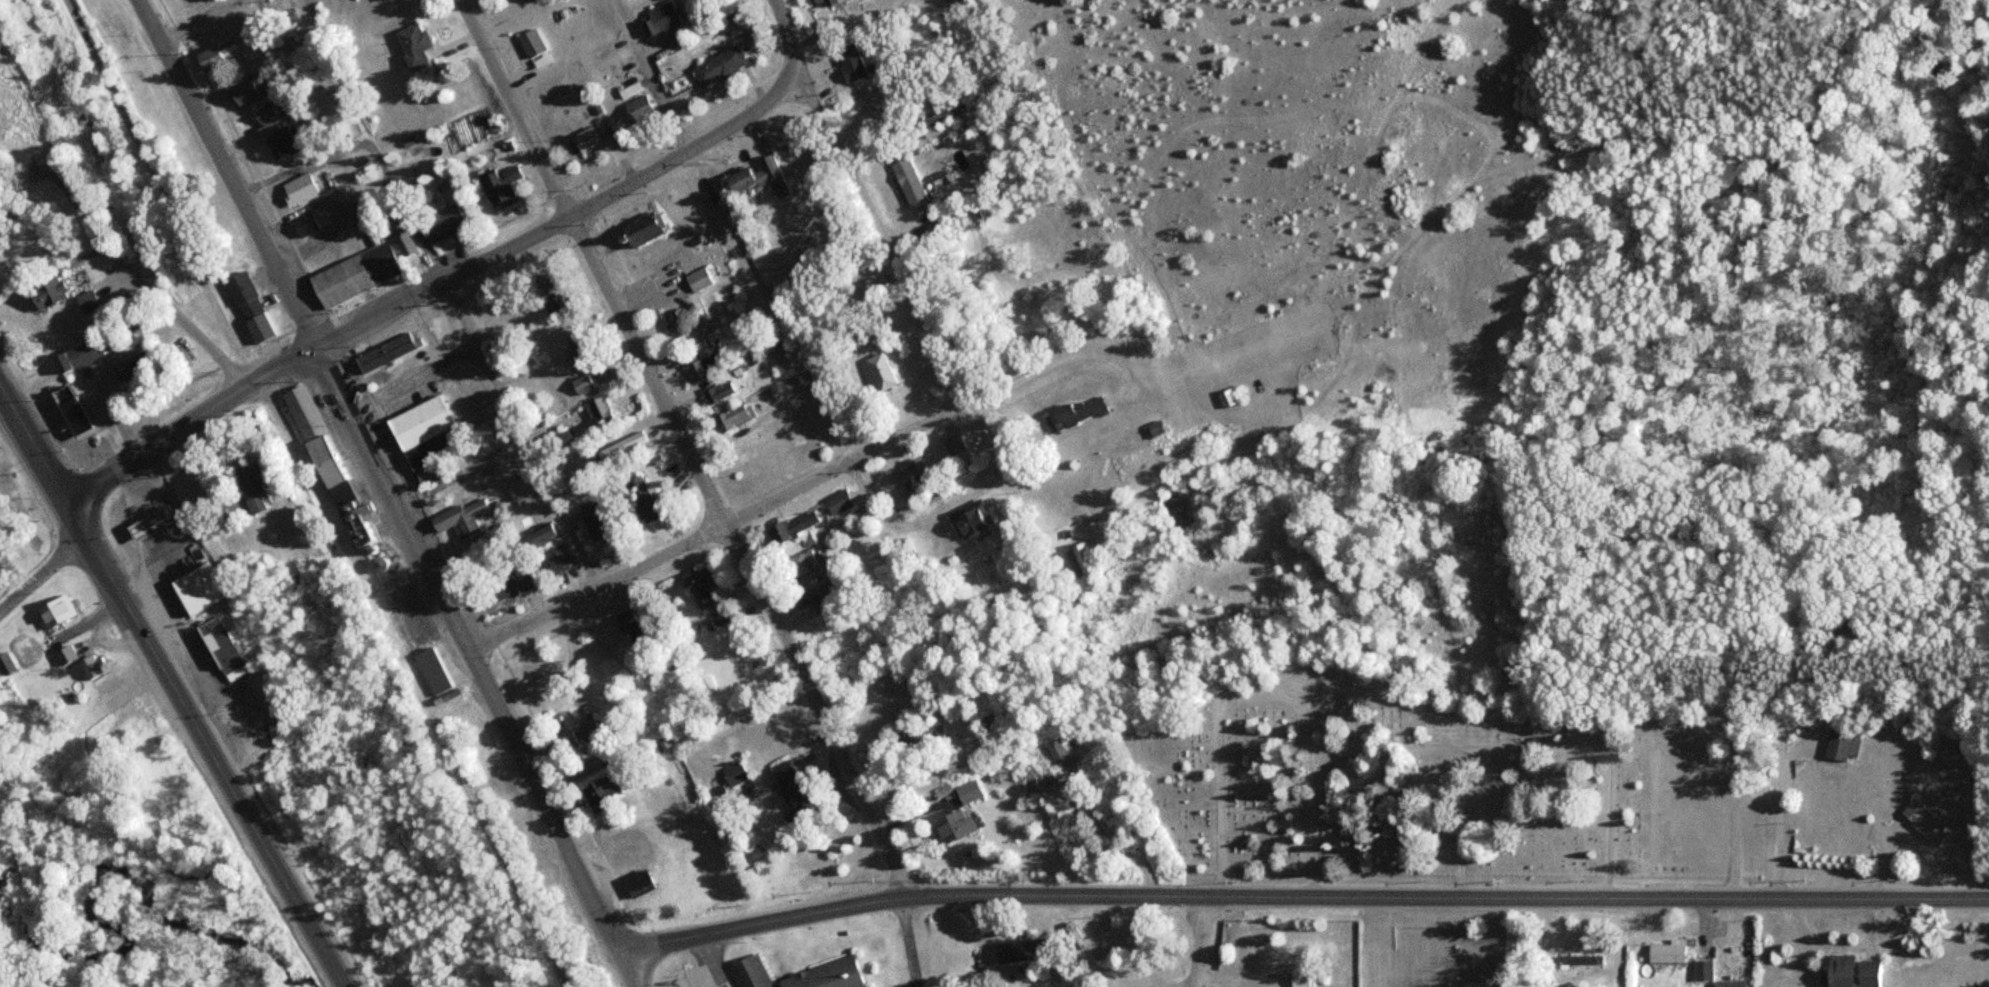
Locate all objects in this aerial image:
building: (665, 1)
building: (821, 2)
road: (197, 20)
building: (664, 20)
building: (410, 43)
building: (532, 47)
building: (229, 49)
building: (847, 61)
building: (722, 69)
building: (244, 91)
building: (635, 105)
building: (269, 115)
building: (583, 137)
building: (283, 141)
building: (770, 171)
building: (735, 178)
building: (907, 179)
building: (498, 181)
building: (297, 186)
road: (867, 200)
building: (440, 221)
building: (305, 222)
building: (638, 226)
building: (695, 277)
building: (348, 278)
road: (428, 288)
building: (46, 290)
building: (547, 291)
road: (162, 293)
building: (248, 305)
building: (581, 346)
building: (776, 347)
building: (385, 351)
building: (90, 356)
building: (71, 357)
building: (698, 365)
building: (68, 368)
building: (878, 370)
building: (142, 377)
building: (581, 382)
building: (784, 382)
building: (714, 389)
building: (1224, 395)
building: (596, 409)
building: (732, 416)
building: (1079, 418)
building: (418, 419)
building: (81, 420)
building: (1154, 424)
road: (520, 433)
building: (318, 442)
building: (950, 442)
building: (626, 445)
road: (682, 447)
road: (377, 471)
building: (429, 471)
building: (916, 475)
building: (248, 488)
road: (316, 493)
building: (638, 495)
building: (836, 500)
building: (459, 510)
building: (657, 514)
building: (965, 519)
building: (155, 521)
building: (594, 521)
building: (792, 523)
road: (711, 531)
building: (540, 534)
building: (553, 558)
building: (796, 561)
building: (377, 564)
building: (1080, 565)
road: (40, 573)
building: (203, 588)
building: (499, 588)
building: (701, 591)
building: (814, 594)
building: (53, 608)
road: (1444, 621)
building: (408, 623)
building: (629, 626)
building: (218, 641)
building: (65, 652)
building: (6, 664)
building: (89, 664)
building: (433, 669)
road: (171, 690)
road: (1262, 694)
building: (581, 726)
road: (1459, 747)
building: (1842, 749)
road: (1604, 751)
building: (1063, 755)
building: (735, 770)
park: (1375, 773)
building: (789, 781)
building: (599, 794)
building: (970, 794)
building: (950, 824)
building: (1930, 825)
building: (636, 881)
road: (1298, 894)
road: (1199, 940)
building: (1021, 946)
building: (1670, 955)
building: (1577, 959)
building: (1583, 965)
road: (622, 966)
building: (748, 972)
building: (1858, 973)
building: (824, 974)
building: (1704, 974)
building: (1298, 978)
parking lot: (692, 980)
building: (1733, 985)

